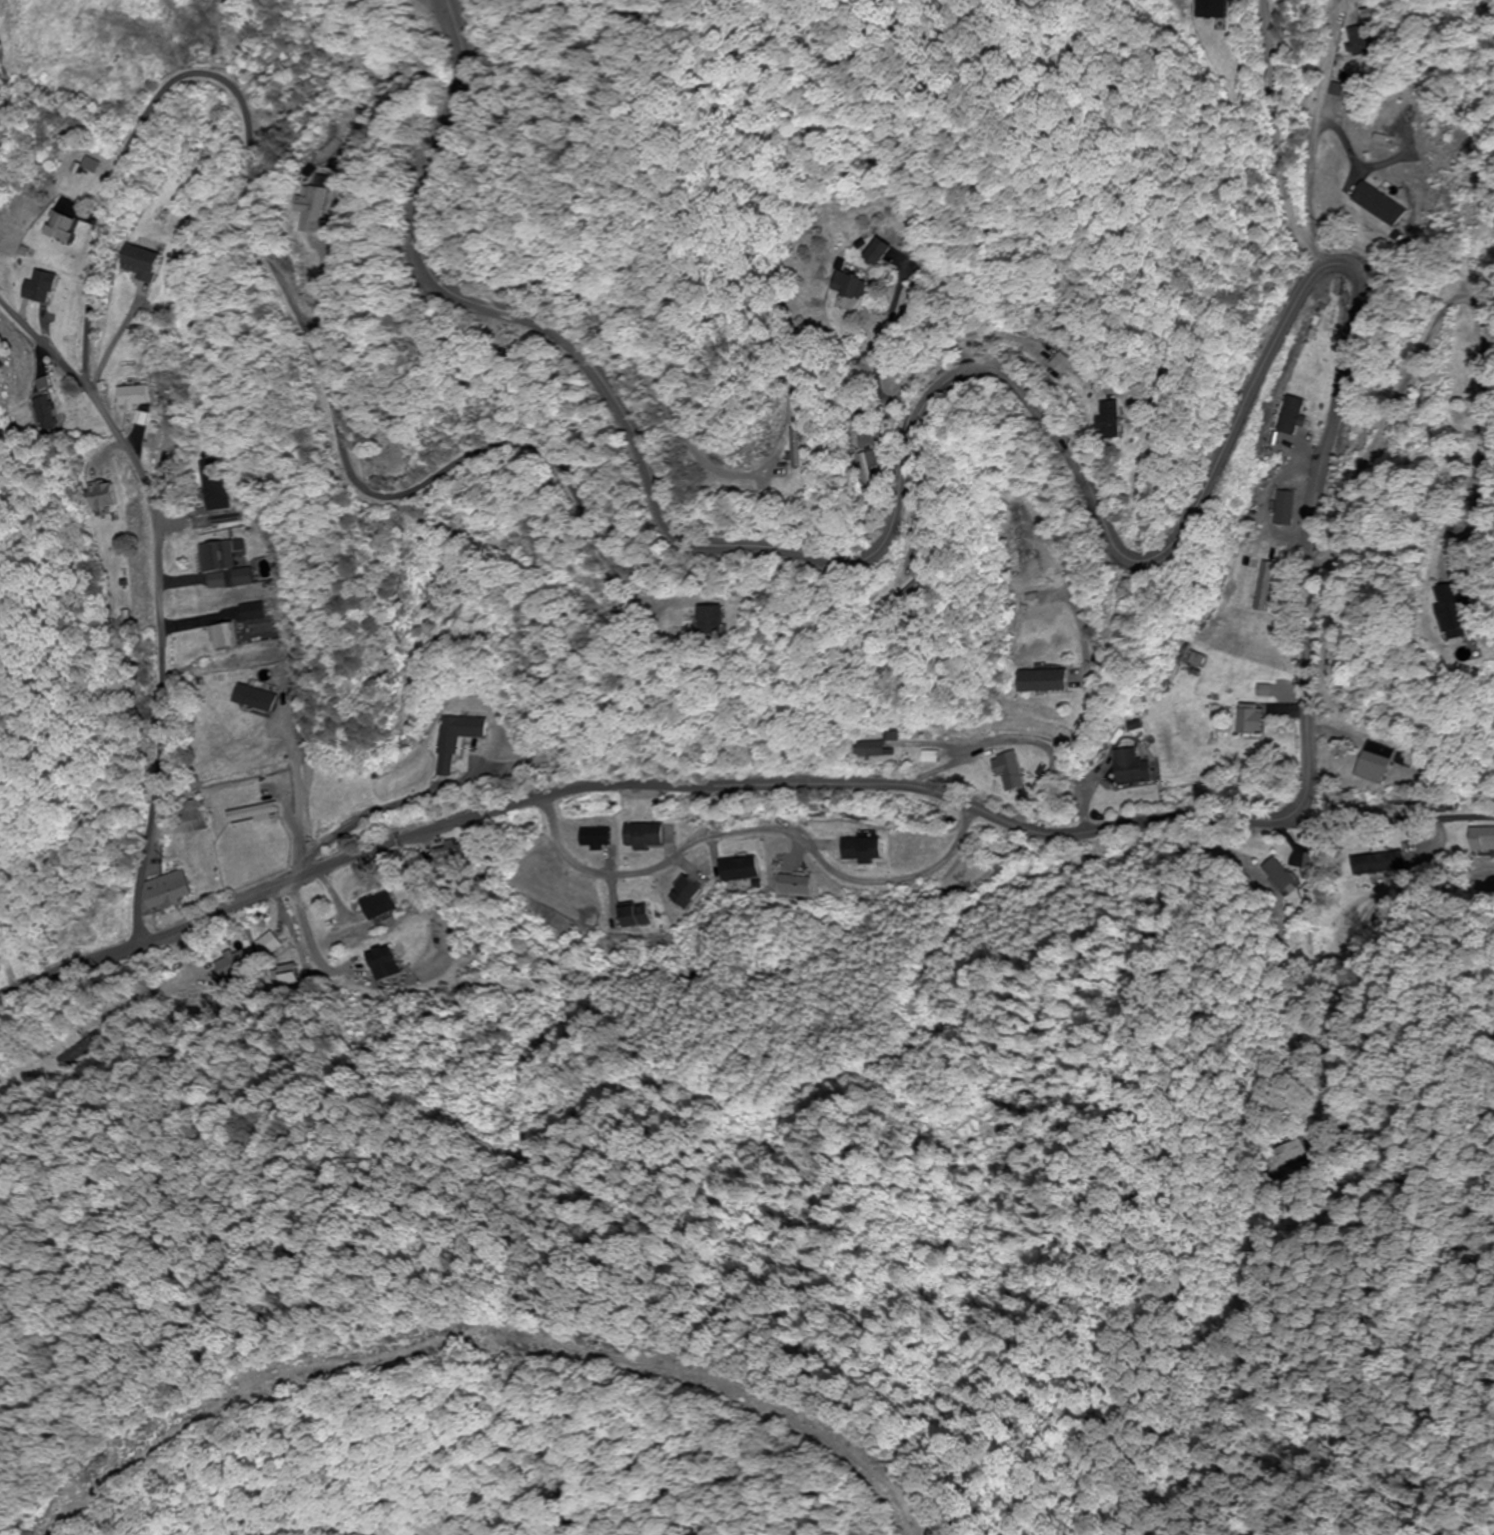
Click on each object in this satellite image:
building: (1213, 8)
building: (1362, 33)
building: (1399, 116)
road: (4, 141)
building: (1379, 204)
building: (319, 205)
building: (59, 227)
building: (879, 252)
building: (139, 263)
road: (295, 283)
building: (851, 286)
building: (38, 288)
road: (1342, 348)
building: (1473, 367)
building: (133, 397)
building: (44, 414)
building: (1112, 420)
building: (799, 448)
building: (870, 468)
building: (208, 486)
building: (103, 496)
building: (1282, 509)
building: (214, 556)
building: (235, 578)
road: (151, 597)
building: (245, 612)
building: (710, 619)
building: (1461, 619)
building: (222, 636)
building: (1041, 681)
building: (1263, 693)
building: (1251, 719)
building: (455, 740)
building: (871, 749)
building: (237, 757)
building: (1373, 762)
building: (1131, 768)
building: (1010, 771)
road: (1395, 814)
building: (192, 816)
road: (748, 834)
building: (644, 836)
building: (1482, 839)
building: (862, 850)
building: (1314, 863)
building: (1378, 864)
building: (739, 870)
building: (1281, 877)
building: (167, 891)
building: (378, 906)
building: (633, 917)
building: (268, 944)
building: (383, 964)
building: (232, 965)
building: (286, 976)
building: (81, 1050)
building: (1291, 1151)

